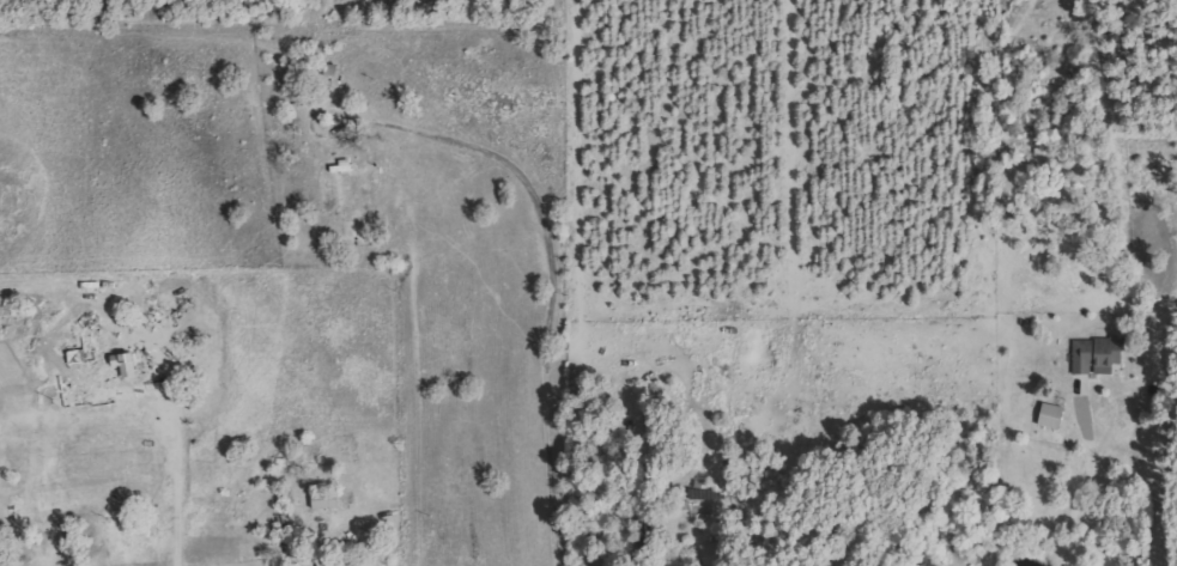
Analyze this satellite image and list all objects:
building: (1100, 354)
building: (1055, 415)

